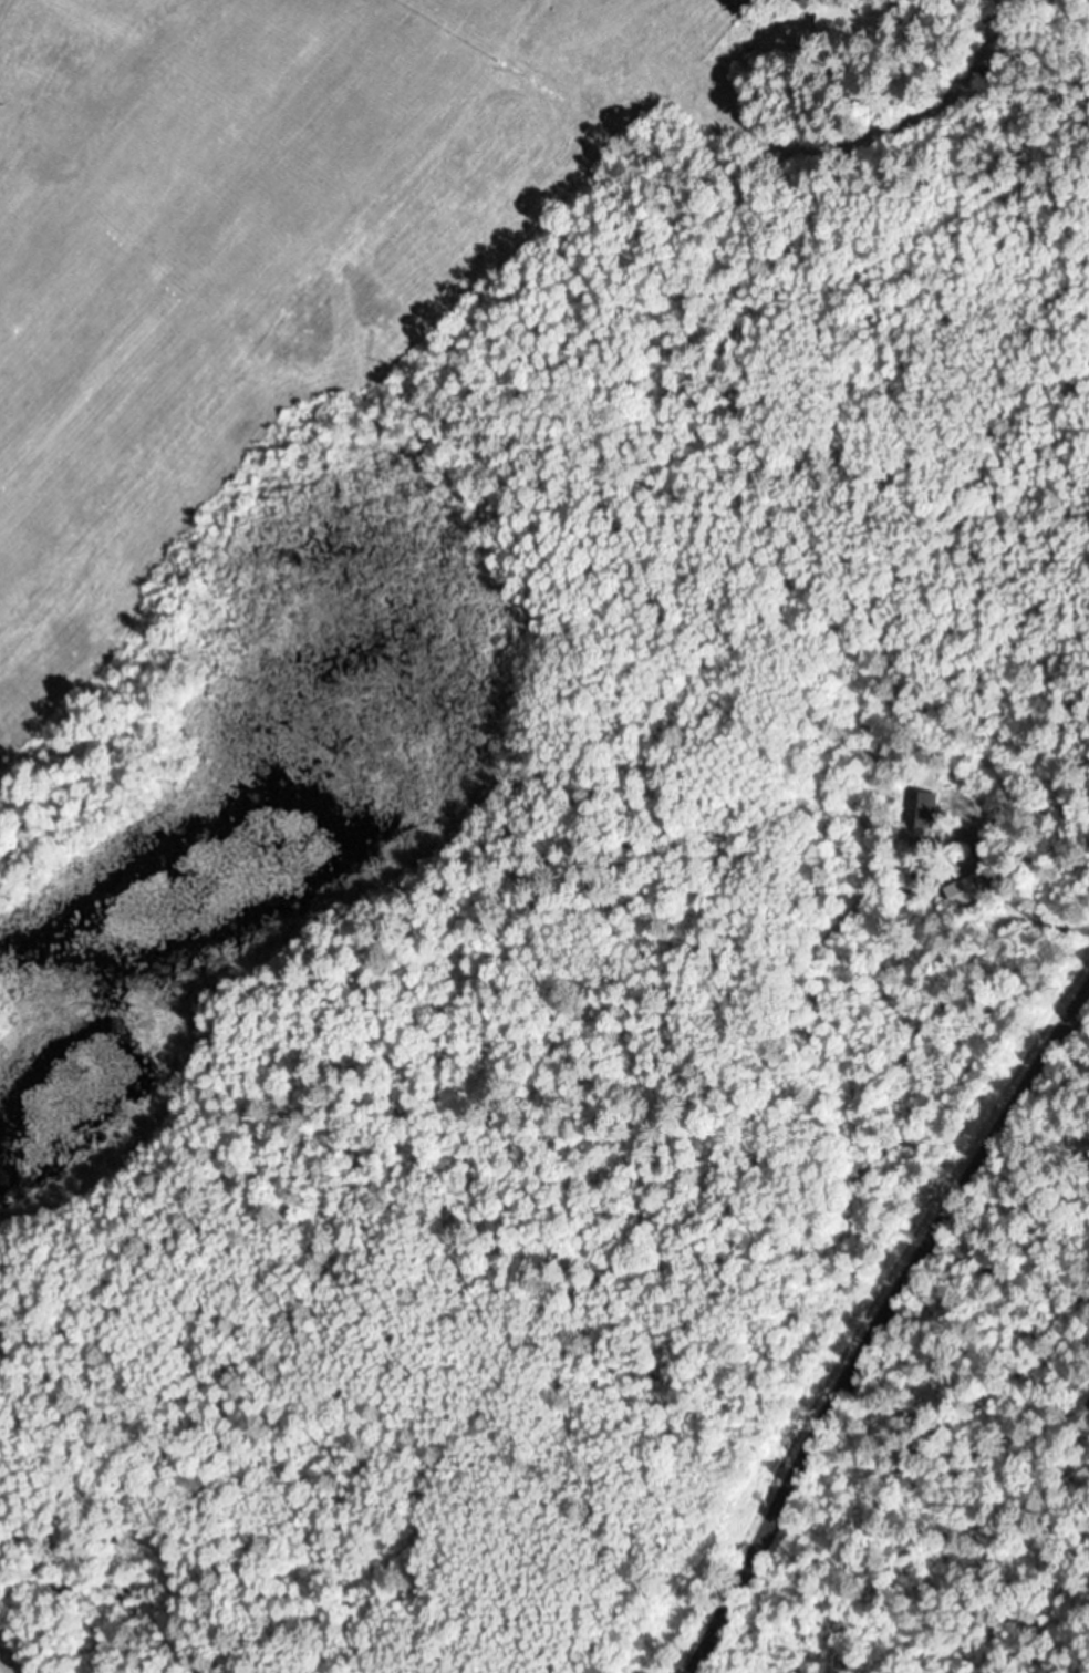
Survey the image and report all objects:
park: (794, 3)
road: (1033, 78)
airport runway: (68, 337)
airport: (518, 375)
road: (1029, 1293)
road: (874, 1318)

